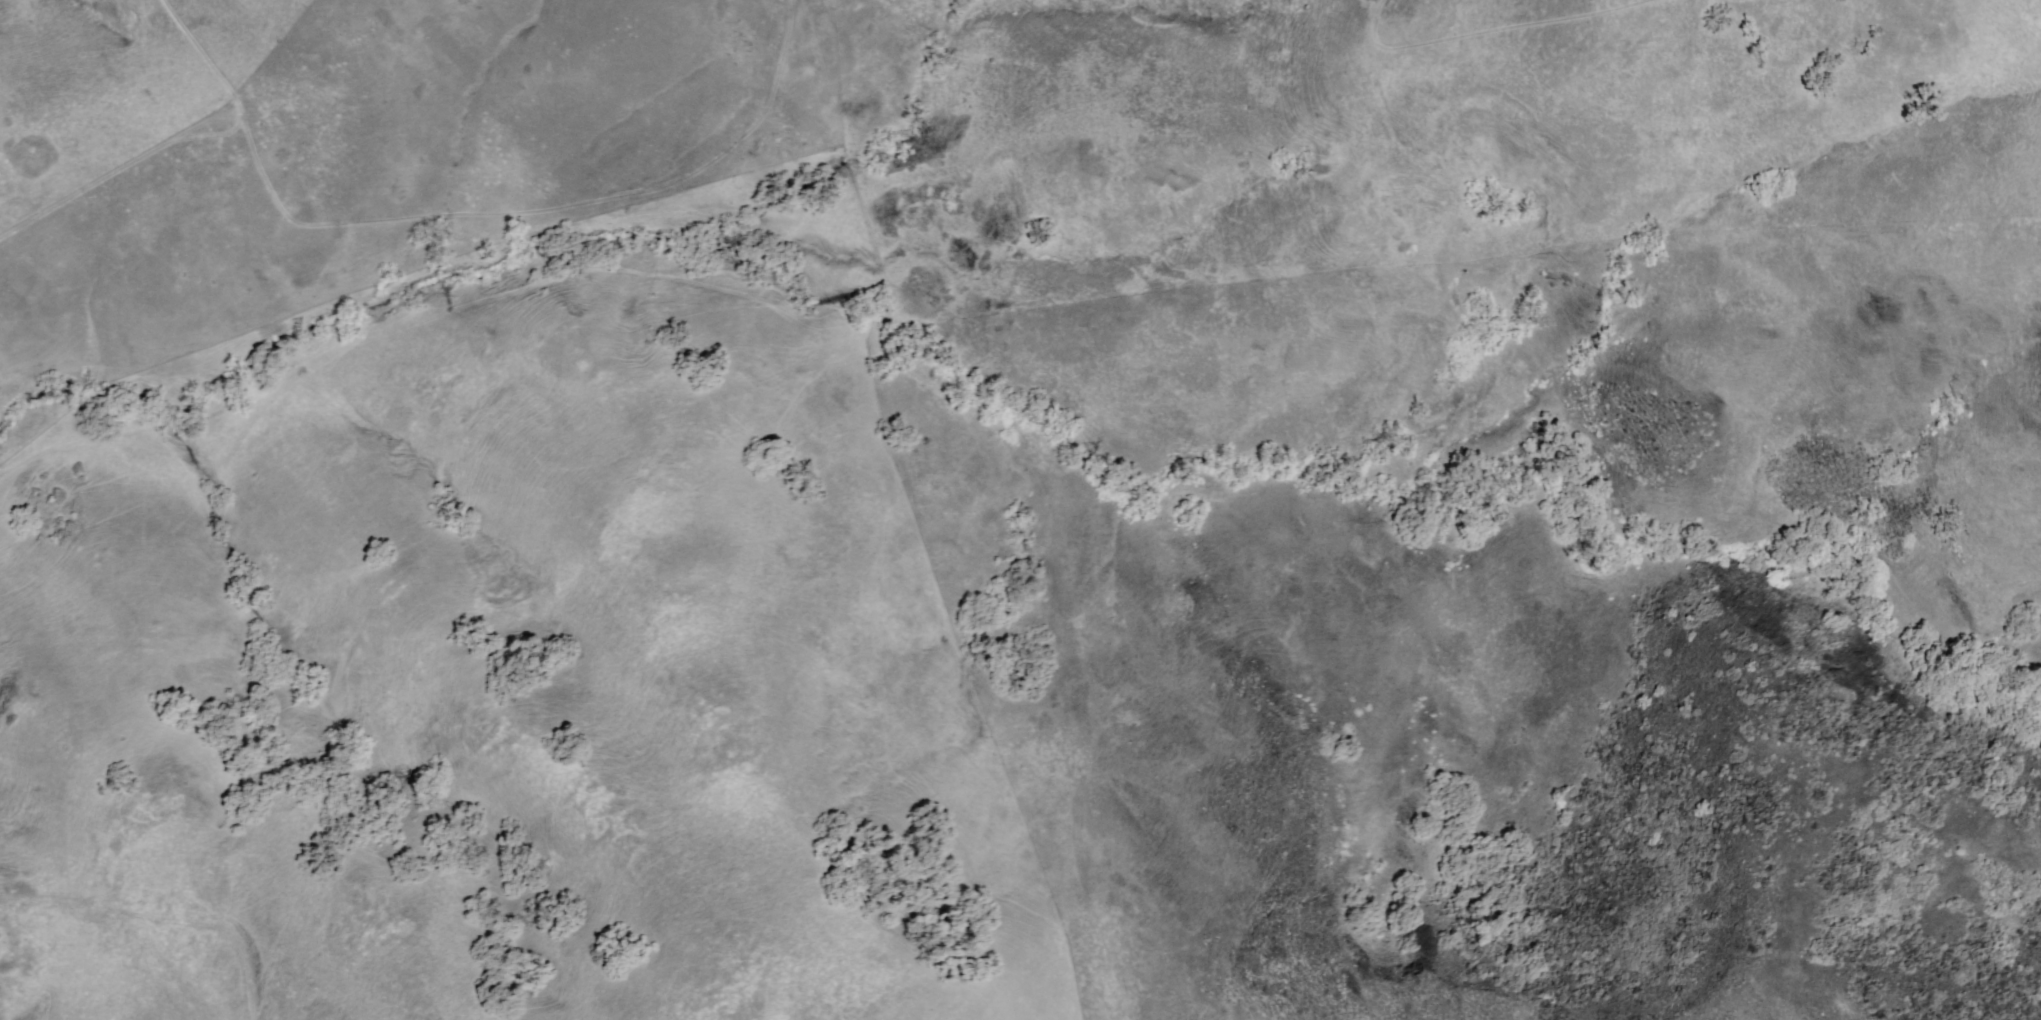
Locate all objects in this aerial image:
road: (166, 136)
road: (81, 445)

